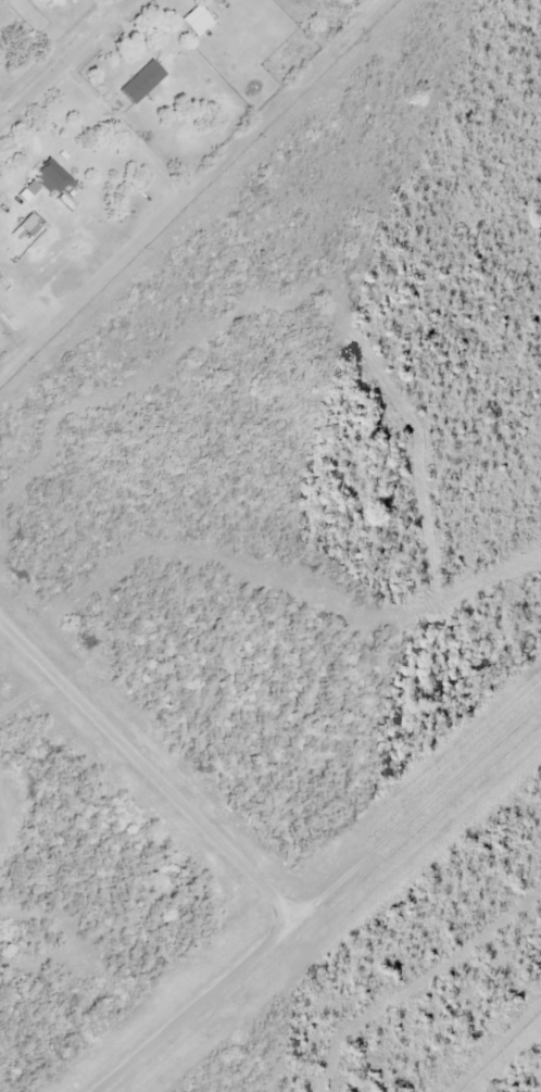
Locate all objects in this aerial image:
road: (63, 61)
building: (51, 178)
road: (147, 765)
road: (417, 805)
road: (197, 1002)

